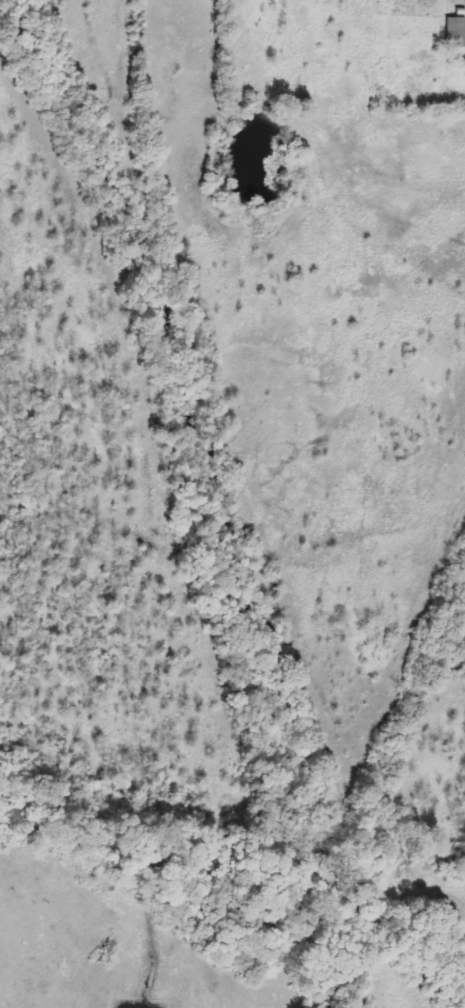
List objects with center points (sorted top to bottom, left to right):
building: (456, 32)

